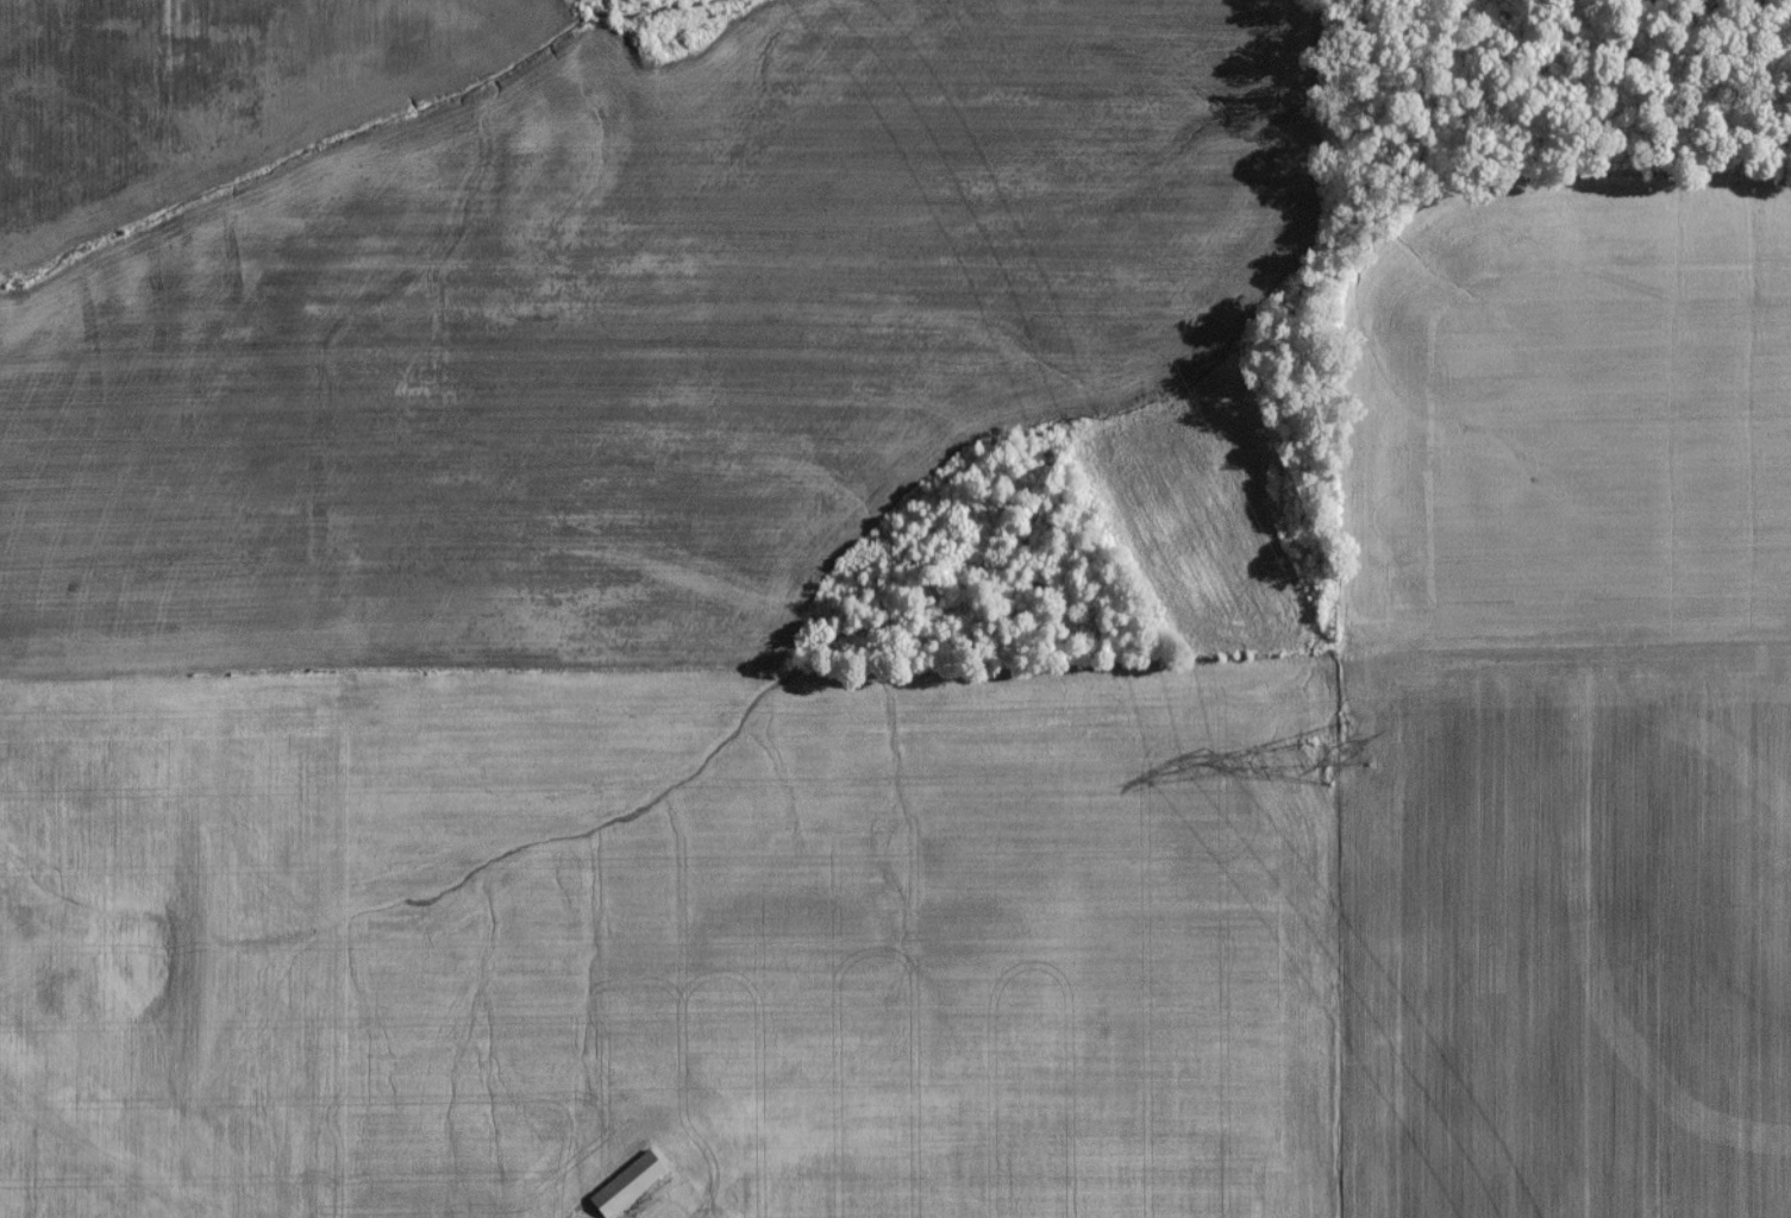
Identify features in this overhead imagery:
power tower: (1333, 756)
building: (680, 1134)
building: (627, 1187)

